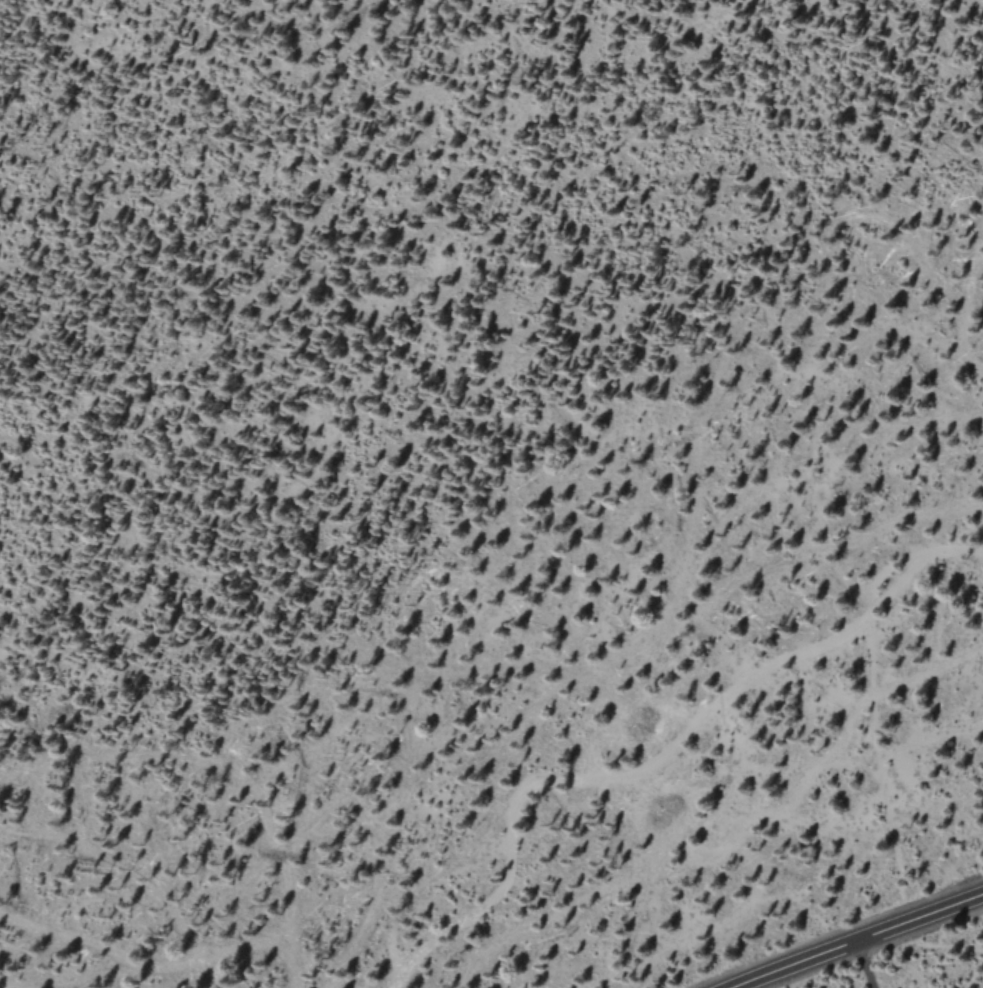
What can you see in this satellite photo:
road: (712, 719)
road: (859, 941)
road: (865, 965)

